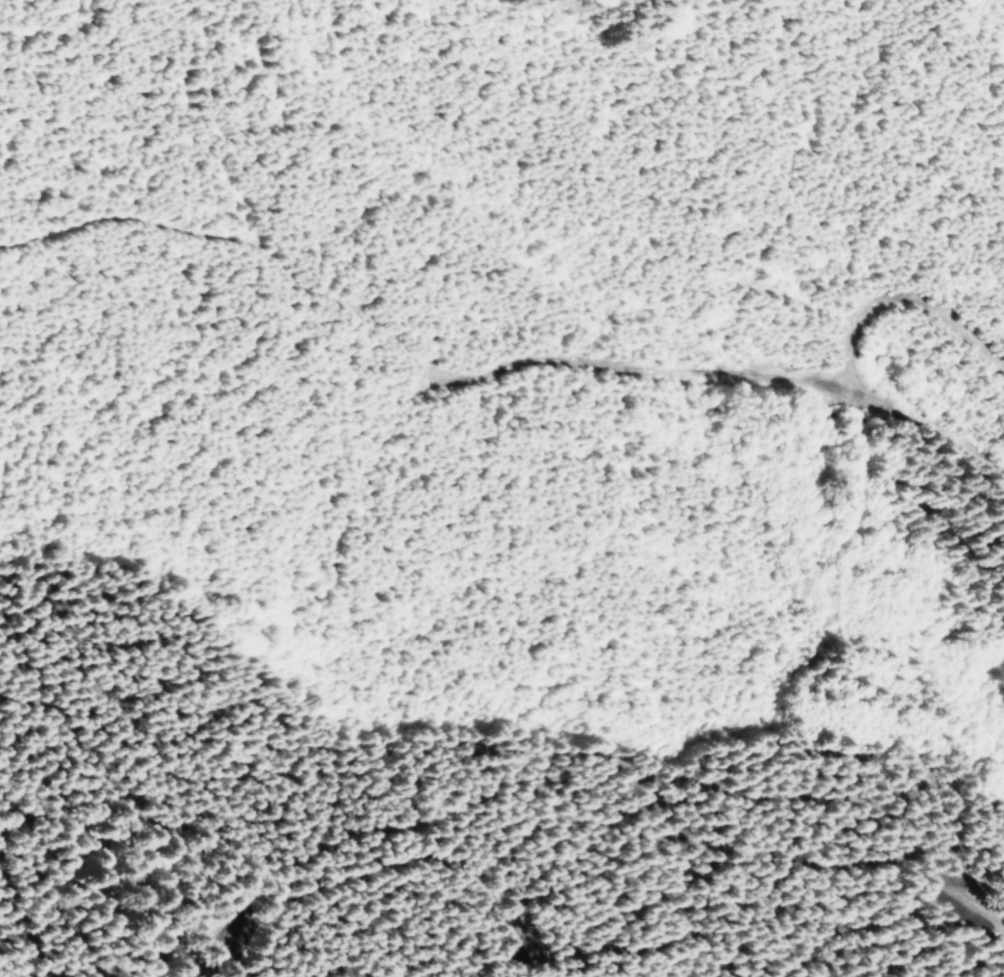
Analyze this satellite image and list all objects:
road: (823, 181)
road: (507, 376)
road: (386, 681)

